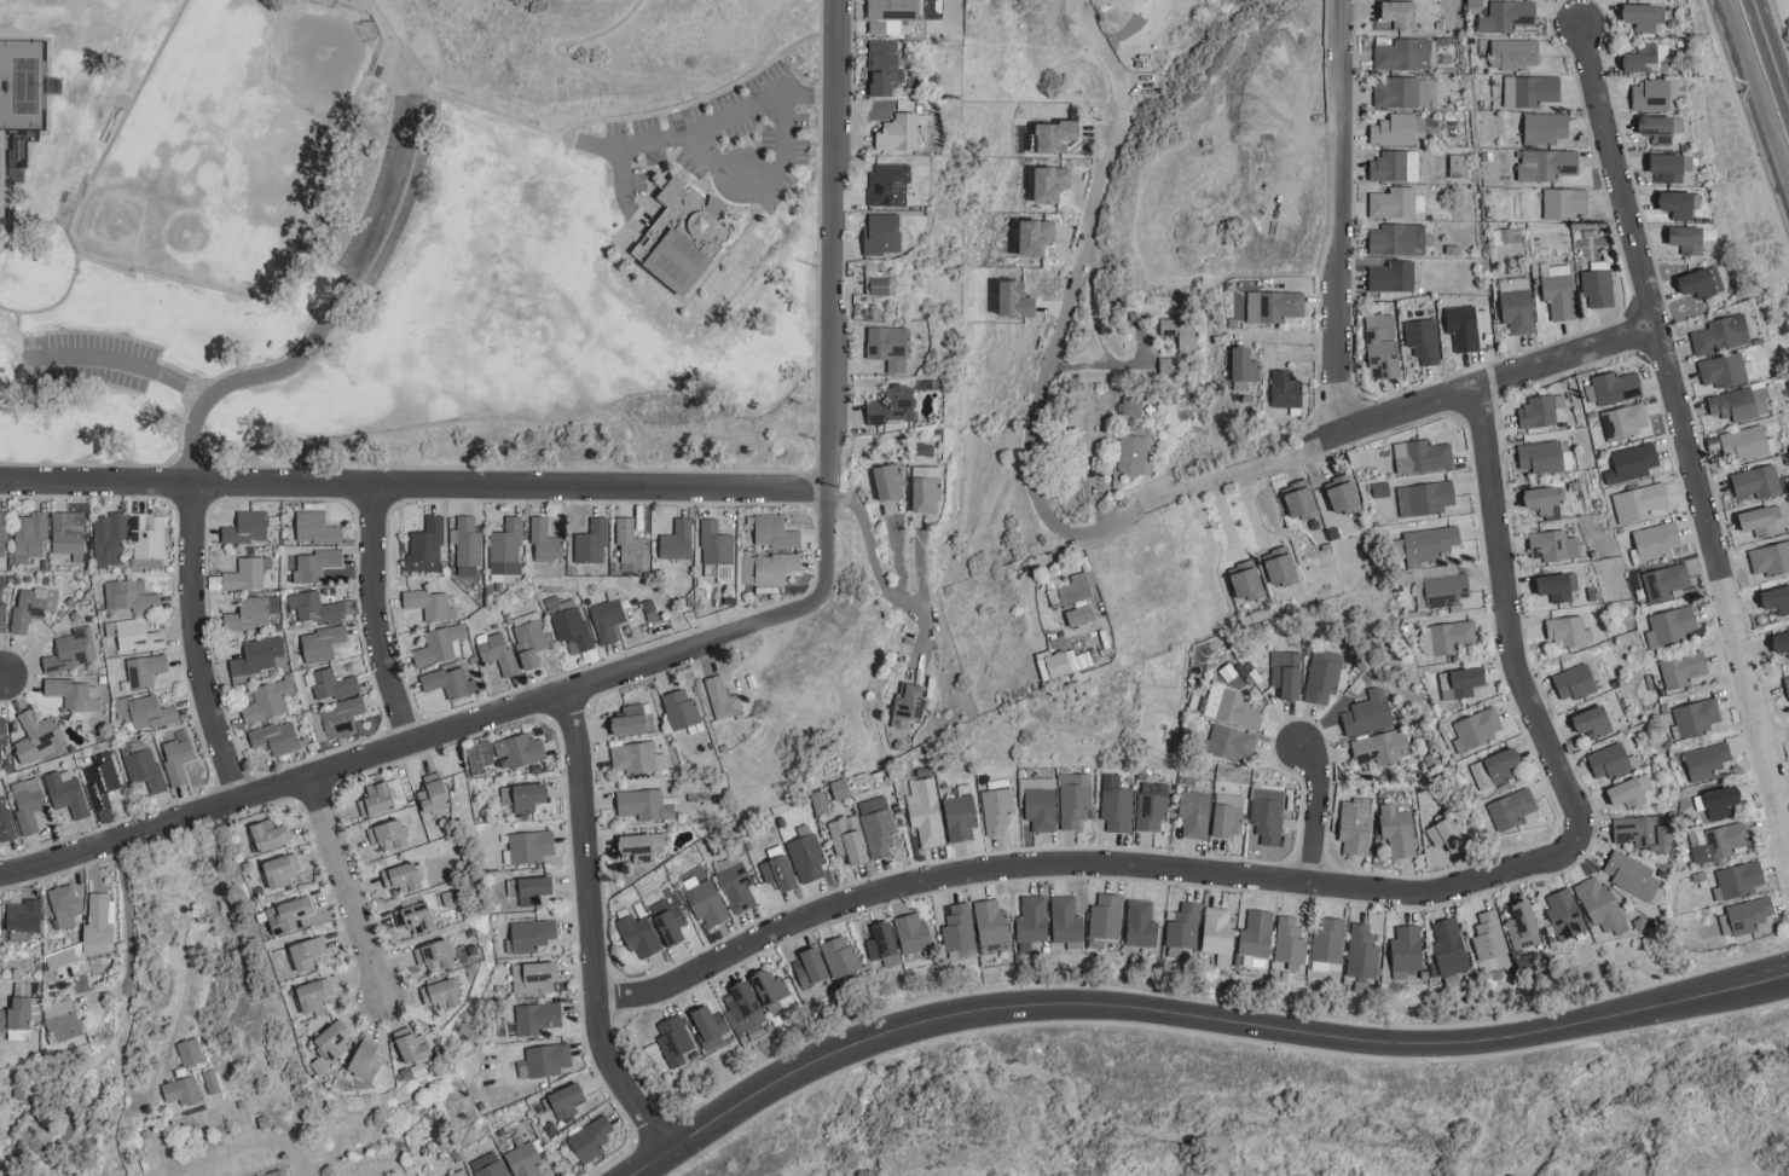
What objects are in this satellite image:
building: (1475, 6)
building: (891, 13)
building: (1401, 13)
building: (1507, 15)
building: (1644, 16)
road: (393, 44)
building: (1403, 53)
building: (1515, 53)
building: (1648, 58)
building: (884, 65)
road: (644, 80)
road: (1761, 80)
building: (1529, 89)
building: (1402, 92)
building: (1652, 94)
park: (19, 103)
road: (494, 111)
building: (1545, 127)
building: (1397, 128)
building: (1661, 128)
building: (899, 132)
building: (1054, 135)
park: (230, 143)
road: (600, 147)
road: (625, 149)
road: (707, 151)
building: (1547, 164)
building: (1395, 166)
building: (1458, 166)
building: (1671, 166)
building: (1052, 183)
building: (888, 184)
parking lot: (395, 191)
building: (1395, 202)
building: (1565, 203)
building: (1679, 204)
road: (1337, 213)
park: (407, 233)
building: (882, 233)
building: (1037, 236)
building: (1396, 238)
building: (1687, 239)
park: (506, 267)
road: (1077, 271)
building: (1391, 276)
building: (879, 280)
building: (1701, 282)
building: (1597, 288)
building: (1017, 299)
road: (833, 303)
road: (1089, 305)
building: (1516, 305)
building: (1273, 306)
road: (329, 320)
building: (1463, 326)
building: (1181, 332)
building: (1721, 335)
road: (1291, 337)
building: (1423, 340)
building: (1382, 344)
building: (887, 347)
parking lot: (89, 361)
road: (128, 364)
road: (1107, 365)
building: (1168, 365)
building: (1244, 367)
building: (1723, 370)
building: (1613, 388)
building: (1286, 390)
building: (1739, 402)
building: (892, 405)
building: (1540, 411)
road: (1683, 415)
road: (1361, 416)
building: (1625, 422)
building: (1744, 442)
building: (1131, 454)
building: (1422, 456)
building: (1541, 457)
building: (1632, 463)
building: (888, 481)
building: (1756, 481)
road: (415, 485)
building: (926, 488)
building: (1344, 494)
building: (1425, 498)
building: (1301, 500)
building: (1545, 502)
building: (1639, 502)
building: (1762, 521)
building: (247, 527)
building: (315, 528)
building: (774, 532)
building: (2, 533)
building: (68, 533)
building: (28, 538)
building: (109, 539)
building: (146, 539)
building: (544, 540)
building: (677, 540)
building: (1656, 540)
building: (591, 541)
building: (1431, 543)
building: (465, 545)
building: (631, 545)
building: (1553, 545)
building: (425, 548)
building: (717, 550)
building: (505, 551)
building: (1771, 558)
building: (313, 566)
building: (1281, 567)
building: (768, 568)
building: (249, 573)
road: (878, 573)
building: (1246, 580)
building: (1664, 581)
road: (1034, 583)
building: (1440, 586)
building: (1558, 586)
building: (1075, 589)
building: (129, 595)
building: (1776, 598)
building: (1, 603)
building: (428, 604)
building: (314, 607)
building: (28, 609)
building: (251, 613)
building: (1079, 615)
road: (375, 616)
building: (607, 619)
building: (1671, 625)
building: (572, 628)
road: (1510, 631)
building: (1568, 632)
building: (133, 635)
building: (1446, 637)
building: (529, 638)
building: (1781, 642)
building: (322, 643)
road: (199, 644)
building: (439, 644)
building: (71, 650)
building: (496, 650)
building: (255, 657)
building: (1060, 664)
building: (1684, 668)
building: (144, 670)
building: (1286, 673)
road: (2, 676)
building: (1321, 677)
building: (448, 682)
building: (1461, 682)
building: (1574, 682)
building: (332, 684)
building: (1787, 684)
building: (75, 694)
building: (722, 699)
building: (268, 700)
building: (909, 703)
building: (1231, 706)
building: (679, 708)
building: (144, 712)
building: (1367, 712)
building: (1696, 717)
building: (336, 719)
building: (631, 719)
building: (1596, 722)
building: (1476, 729)
building: (36, 736)
building: (277, 737)
building: (1, 741)
building: (1231, 742)
road: (409, 745)
building: (1377, 749)
building: (520, 751)
building: (485, 754)
building: (636, 757)
building: (176, 760)
building: (1610, 760)
building: (1706, 760)
building: (1495, 767)
building: (143, 769)
building: (100, 780)
building: (840, 789)
building: (398, 792)
building: (1629, 792)
building: (66, 793)
building: (435, 794)
building: (523, 796)
building: (1073, 799)
building: (377, 800)
building: (1718, 800)
building: (27, 804)
building: (1116, 804)
building: (644, 805)
building: (1151, 805)
building: (1041, 807)
road: (1315, 809)
building: (1511, 809)
building: (996, 810)
building: (925, 811)
building: (1194, 813)
building: (1267, 813)
building: (960, 815)
building: (1228, 815)
building: (5, 821)
building: (876, 825)
building: (1354, 825)
building: (1397, 830)
building: (1644, 833)
building: (388, 834)
building: (270, 835)
building: (1446, 835)
building: (847, 839)
building: (1719, 841)
building: (642, 845)
building: (528, 847)
building: (806, 858)
road: (1060, 864)
building: (280, 870)
building: (778, 873)
building: (1632, 875)
building: (403, 876)
building: (1738, 880)
building: (735, 886)
road: (351, 888)
building: (529, 890)
building: (451, 898)
building: (704, 900)
building: (64, 904)
building: (1599, 904)
building: (289, 915)
building: (1745, 915)
building: (1563, 916)
building: (100, 917)
building: (416, 917)
building: (23, 919)
building: (668, 920)
building: (1105, 920)
building: (1031, 921)
building: (1066, 922)
building: (1140, 923)
building: (991, 926)
building: (1182, 928)
building: (1522, 928)
road: (590, 929)
building: (959, 932)
building: (914, 933)
building: (1218, 934)
building: (1255, 934)
building: (529, 935)
building: (638, 935)
building: (1487, 935)
building: (1327, 940)
building: (1289, 942)
building: (884, 945)
building: (1448, 946)
building: (97, 948)
building: (1406, 950)
building: (1361, 951)
building: (307, 952)
building: (435, 955)
building: (840, 957)
building: (810, 967)
building: (533, 977)
building: (770, 987)
building: (441, 993)
building: (313, 995)
building: (745, 1010)
road: (1192, 1014)
building: (535, 1016)
building: (16, 1019)
building: (62, 1019)
building: (710, 1026)
road: (121, 1032)
building: (334, 1039)
building: (673, 1041)
building: (413, 1050)
building: (189, 1052)
building: (548, 1059)
building: (366, 1060)
building: (210, 1082)
building: (181, 1090)
building: (563, 1101)
road: (214, 1113)
building: (590, 1139)
road: (239, 1149)
building: (523, 1160)
building: (490, 1165)
road: (382, 1166)
building: (274, 1174)

